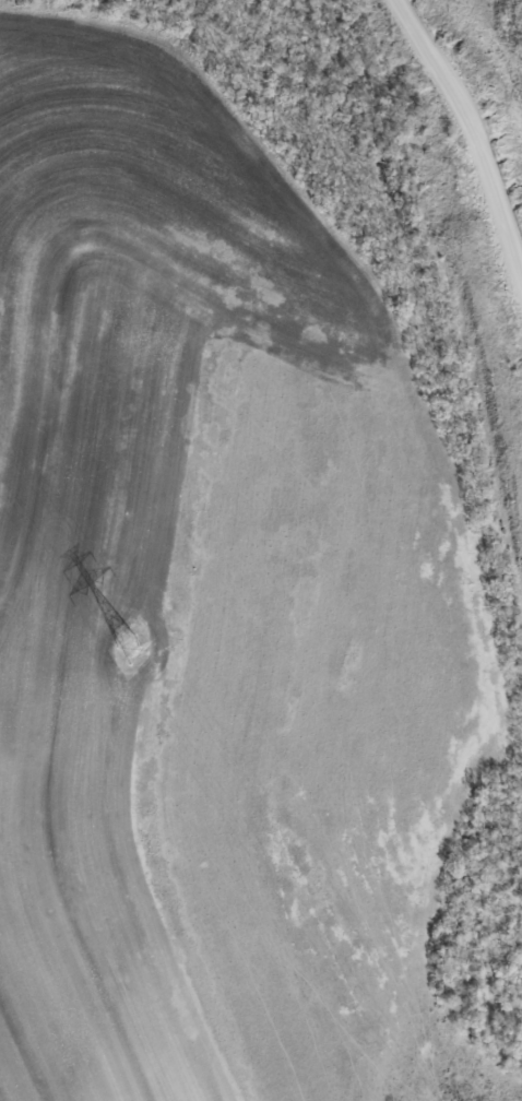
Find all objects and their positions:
power tower: (131, 651)

